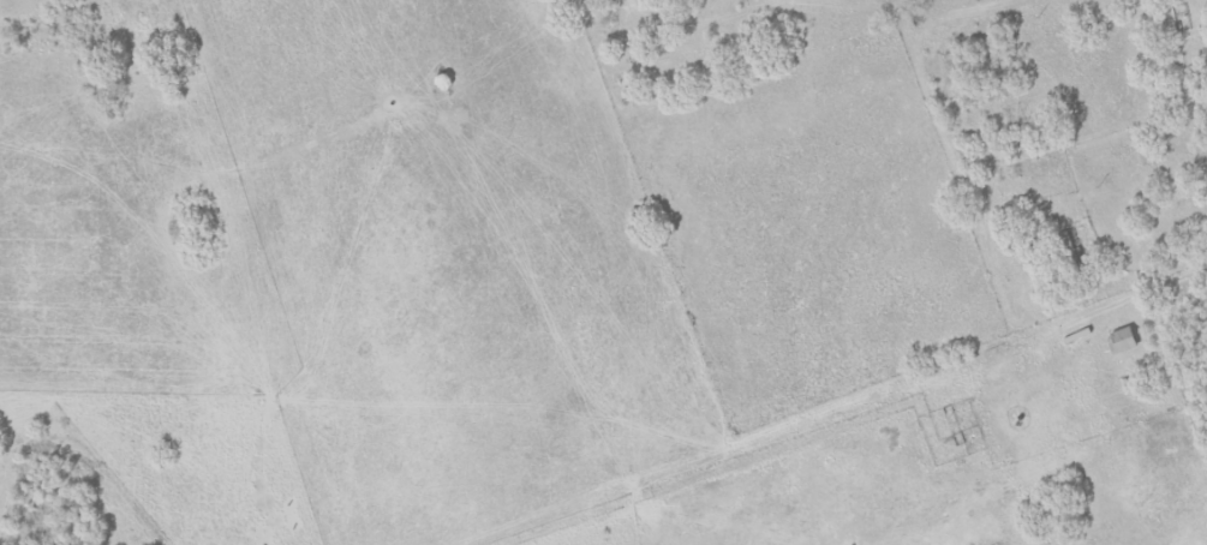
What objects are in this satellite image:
building: (1119, 340)

